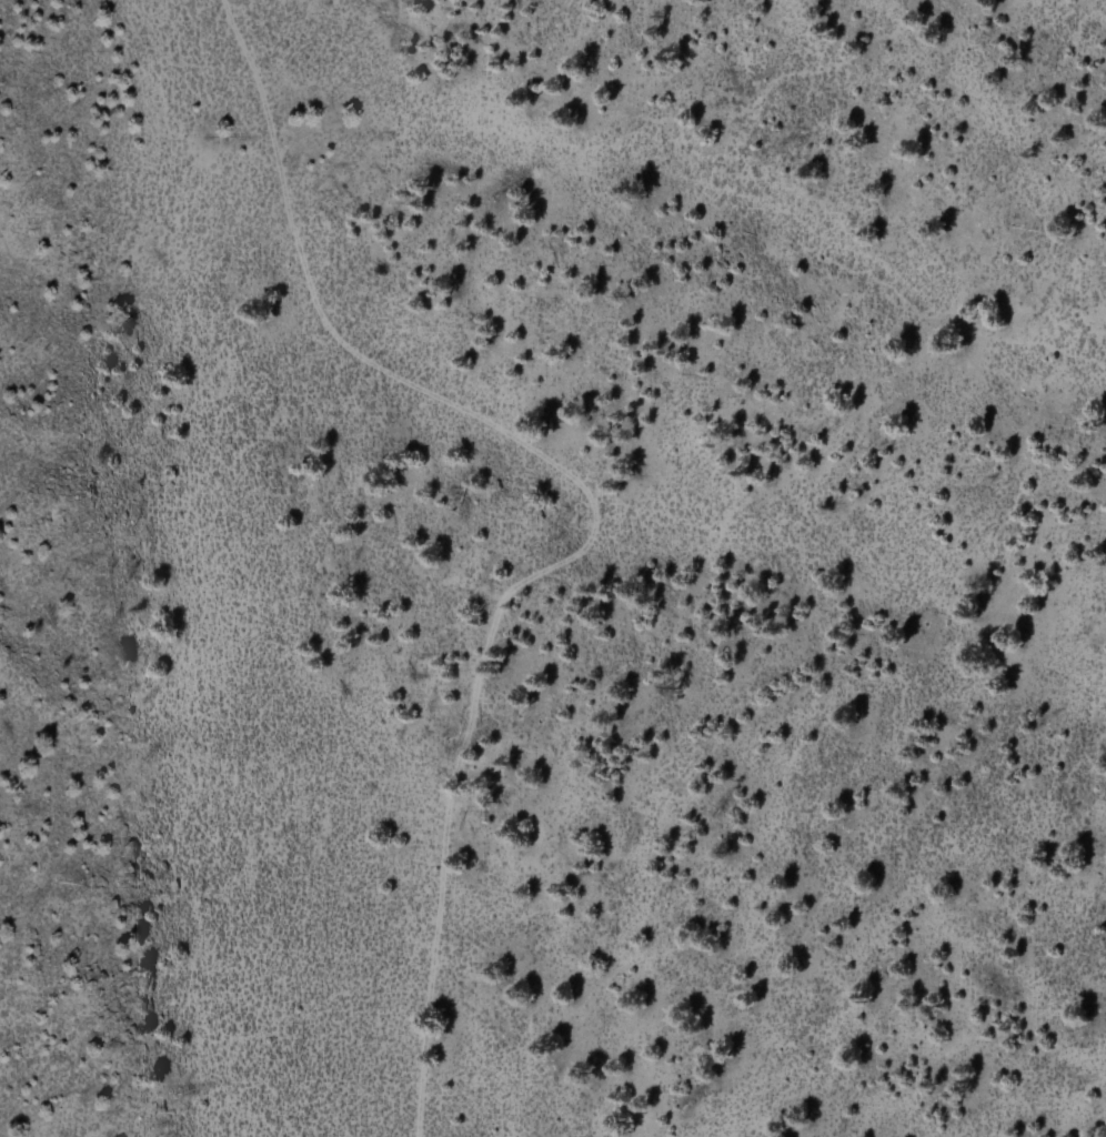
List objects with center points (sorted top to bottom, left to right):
road: (1066, 9)
road: (557, 462)
road: (469, 788)

